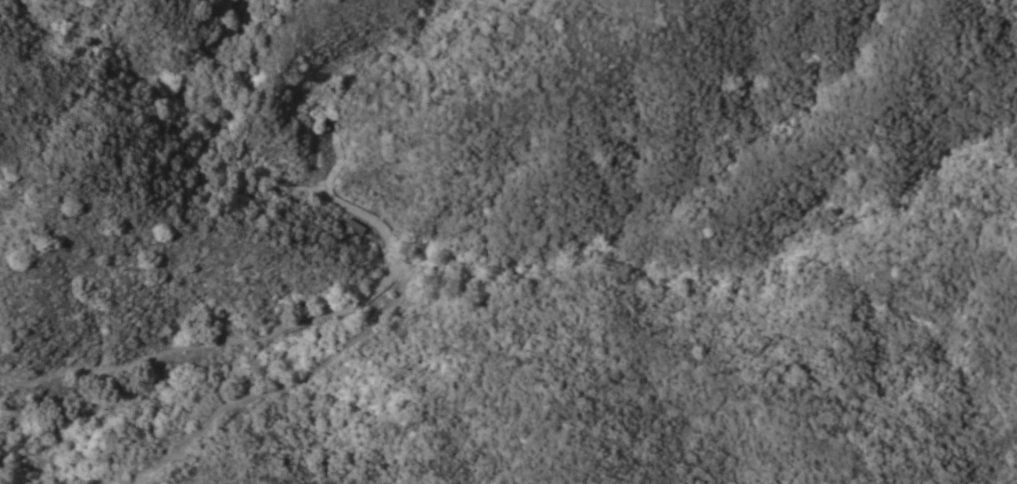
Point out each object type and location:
road: (336, 165)
road: (378, 291)
road: (358, 330)
road: (170, 350)

